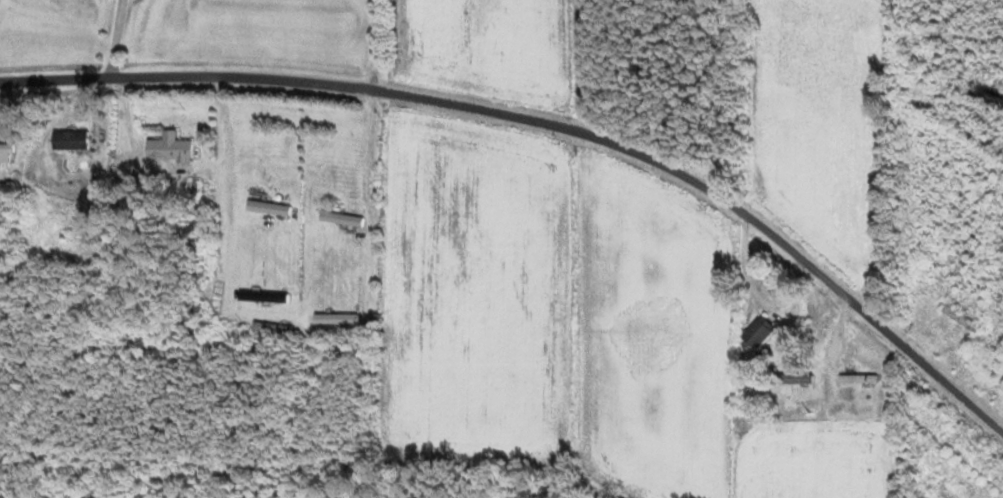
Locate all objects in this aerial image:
road: (111, 39)
road: (550, 122)
building: (79, 127)
building: (4, 148)
building: (164, 148)
building: (265, 207)
building: (341, 218)
building: (262, 295)
building: (335, 318)
building: (269, 328)
building: (755, 331)
building: (981, 358)
building: (791, 378)
building: (855, 378)
building: (955, 441)

